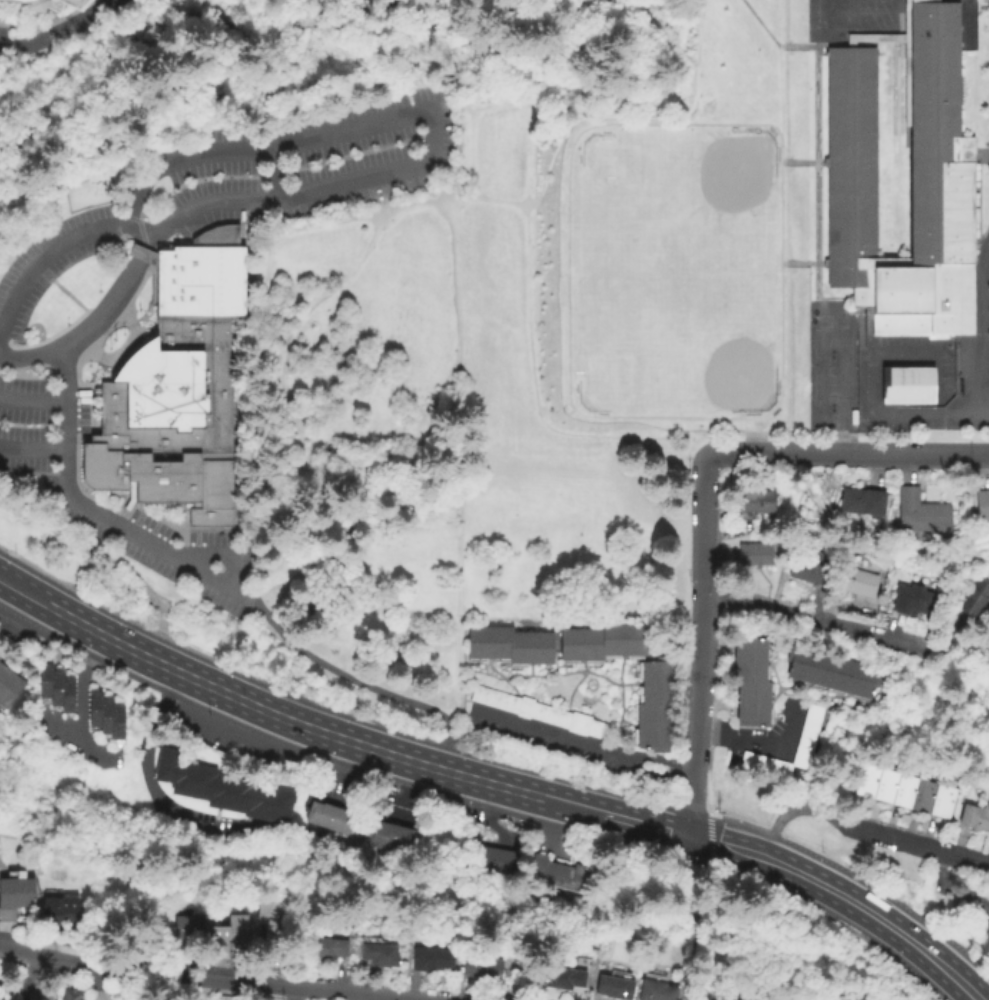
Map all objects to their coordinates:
building: (52, 5)
road: (761, 22)
road: (60, 30)
road: (832, 43)
road: (580, 53)
road: (781, 89)
road: (430, 113)
road: (598, 117)
road: (816, 172)
building: (942, 198)
road: (295, 216)
road: (146, 243)
road: (56, 249)
road: (140, 254)
track: (675, 271)
park: (673, 272)
road: (529, 284)
road: (332, 296)
park: (825, 323)
park: (841, 323)
road: (82, 330)
road: (981, 331)
park: (833, 381)
building: (907, 387)
park: (907, 387)
building: (176, 389)
road: (33, 402)
road: (743, 419)
road: (903, 419)
road: (67, 424)
road: (290, 425)
road: (847, 433)
road: (699, 435)
road: (745, 441)
road: (839, 443)
road: (295, 444)
road: (33, 450)
road: (848, 454)
park: (419, 456)
building: (755, 502)
building: (862, 502)
building: (982, 505)
building: (922, 515)
road: (365, 518)
road: (167, 554)
building: (754, 555)
road: (221, 556)
building: (810, 568)
road: (457, 570)
building: (857, 582)
building: (973, 597)
building: (911, 600)
road: (816, 621)
road: (115, 642)
building: (602, 643)
building: (509, 646)
road: (702, 646)
road: (216, 660)
building: (831, 672)
building: (751, 681)
building: (45, 682)
road: (80, 686)
road: (368, 687)
building: (8, 688)
building: (56, 690)
building: (67, 696)
building: (654, 708)
building: (94, 710)
building: (540, 713)
building: (106, 717)
road: (289, 719)
building: (117, 723)
building: (809, 729)
road: (77, 741)
road: (361, 745)
road: (581, 746)
road: (761, 746)
road: (409, 760)
road: (336, 769)
road: (474, 780)
building: (865, 783)
building: (885, 787)
road: (148, 788)
building: (222, 790)
building: (904, 792)
building: (923, 797)
road: (552, 800)
building: (942, 802)
road: (787, 813)
building: (328, 818)
building: (974, 819)
road: (640, 823)
road: (742, 823)
traffic signals: (668, 831)
building: (388, 836)
road: (889, 837)
road: (708, 839)
traffic signals: (716, 843)
road: (727, 846)
road: (965, 858)
building: (477, 859)
building: (491, 862)
building: (505, 865)
road: (717, 866)
building: (556, 875)
road: (936, 876)
road: (840, 893)
road: (887, 897)
building: (16, 898)
building: (976, 903)
building: (59, 911)
building: (187, 924)
road: (695, 929)
building: (237, 930)
building: (269, 931)
building: (216, 947)
building: (326, 950)
building: (379, 955)
building: (430, 961)
road: (944, 967)
building: (481, 969)
road: (50, 979)
road: (208, 979)
building: (563, 980)
road: (95, 982)
road: (24, 983)
building: (614, 986)
building: (655, 991)
building: (69, 994)
building: (0, 997)
road: (377, 997)
building: (728, 999)

